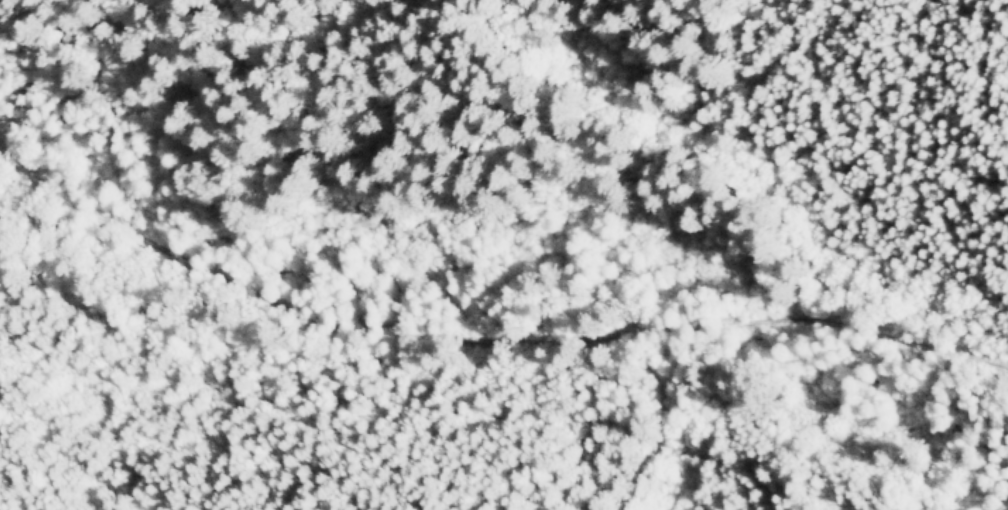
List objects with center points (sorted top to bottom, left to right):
road: (488, 315)

